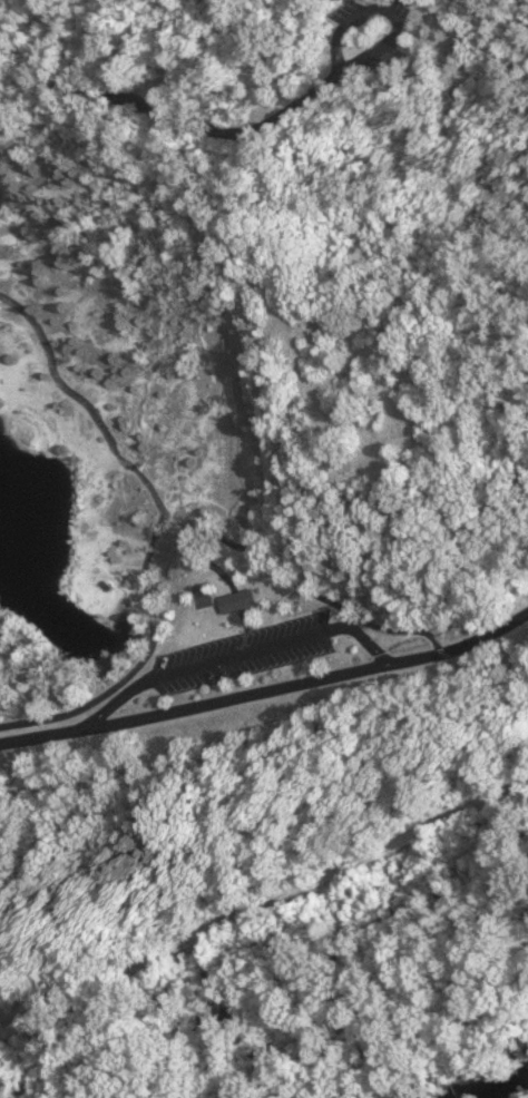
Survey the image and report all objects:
road: (380, 7)
parking lot: (362, 50)
road: (471, 76)
road: (502, 89)
road: (179, 119)
road: (66, 433)
park: (252, 442)
road: (202, 469)
building: (209, 526)
road: (266, 580)
building: (205, 599)
road: (115, 650)
parking lot: (216, 653)
road: (211, 655)
road: (514, 666)
road: (267, 689)
road: (84, 695)
park: (487, 834)
road: (265, 900)

